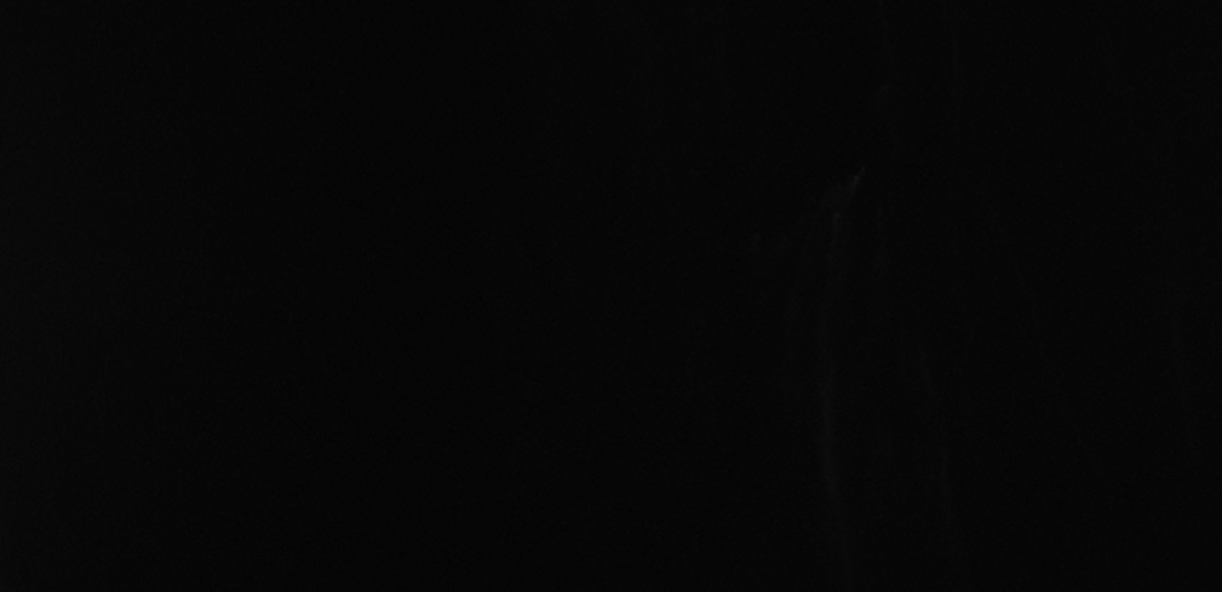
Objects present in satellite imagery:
river: (581, 295)

